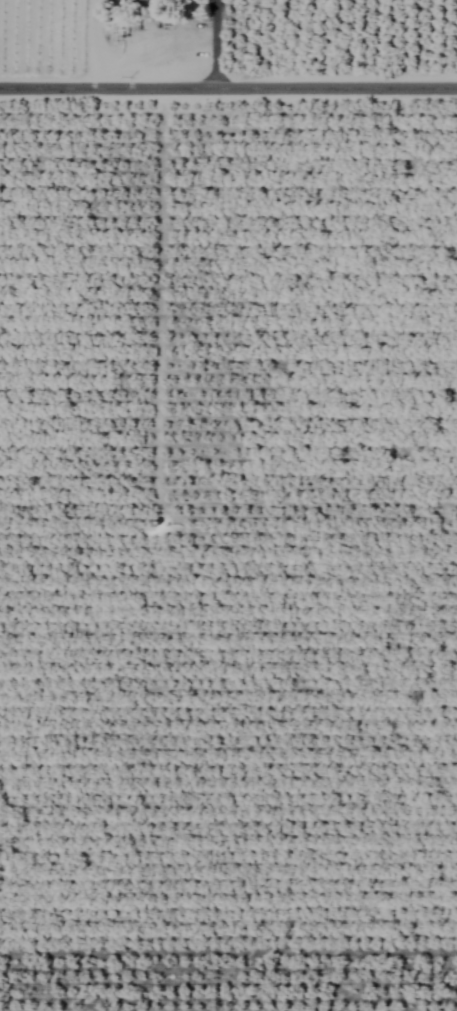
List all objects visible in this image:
road: (213, 43)
road: (228, 86)
crop: (228, 505)

